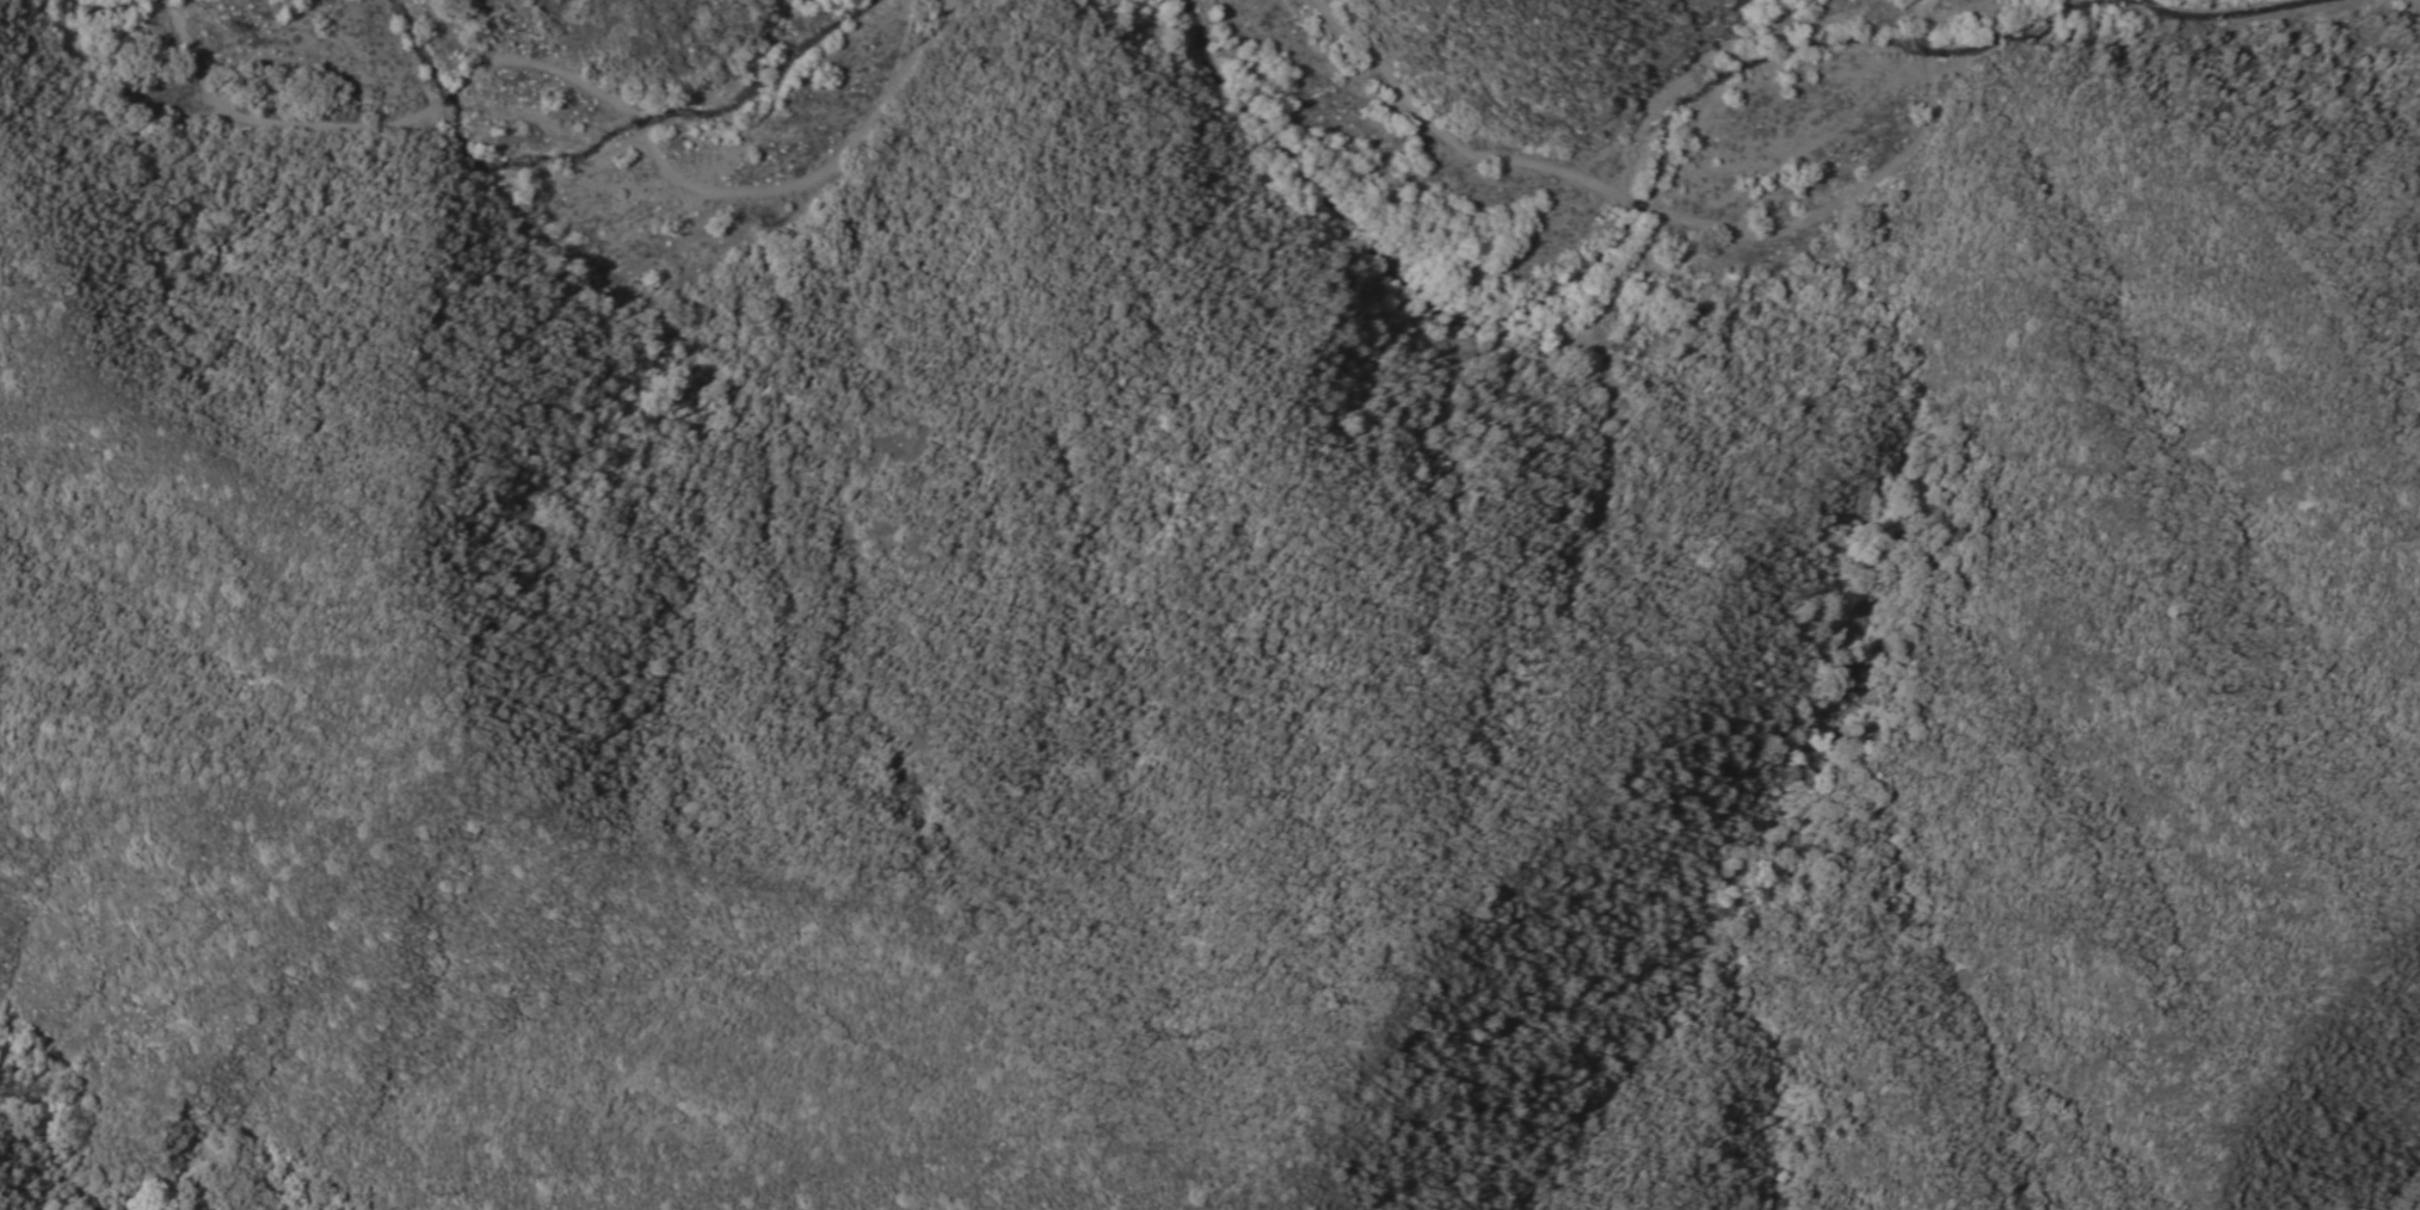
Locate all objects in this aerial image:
road: (579, 80)
road: (1674, 216)

